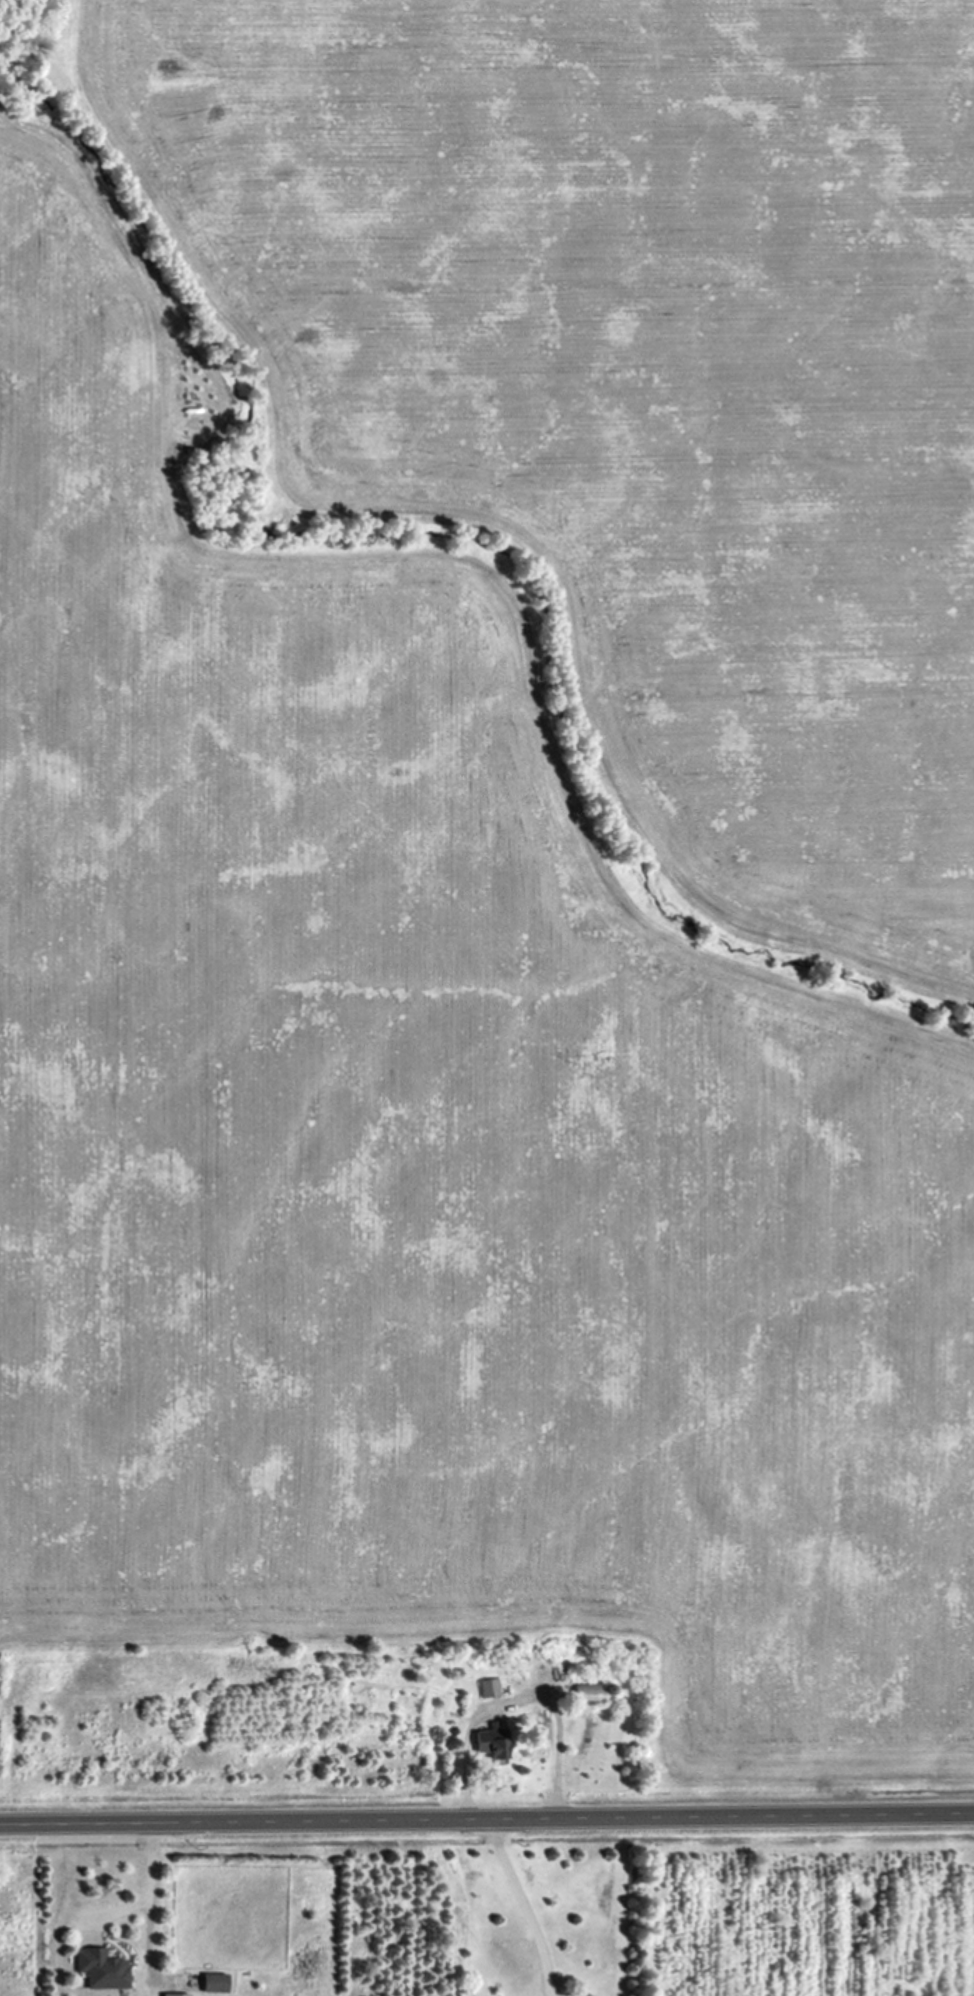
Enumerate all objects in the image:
building: (491, 1688)
building: (591, 1694)
road: (520, 1702)
building: (496, 1744)
road: (487, 1817)
road: (148, 1886)
road: (525, 1905)
building: (104, 1970)
building: (219, 1983)

